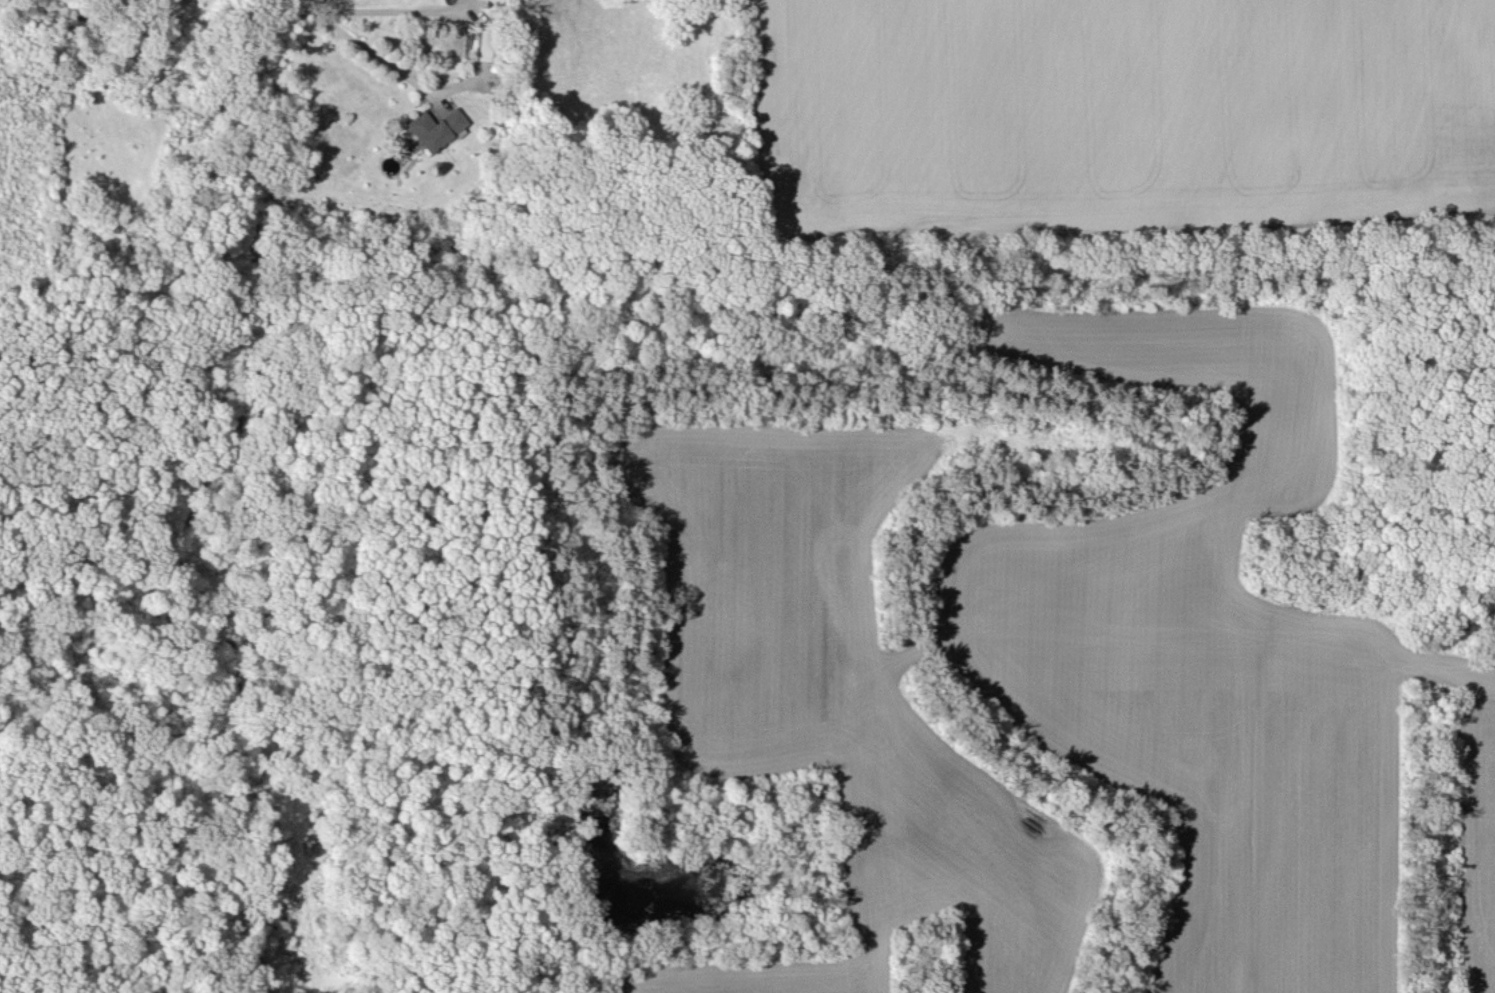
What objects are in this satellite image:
road: (392, 9)
building: (485, 44)
road: (370, 51)
building: (435, 127)

